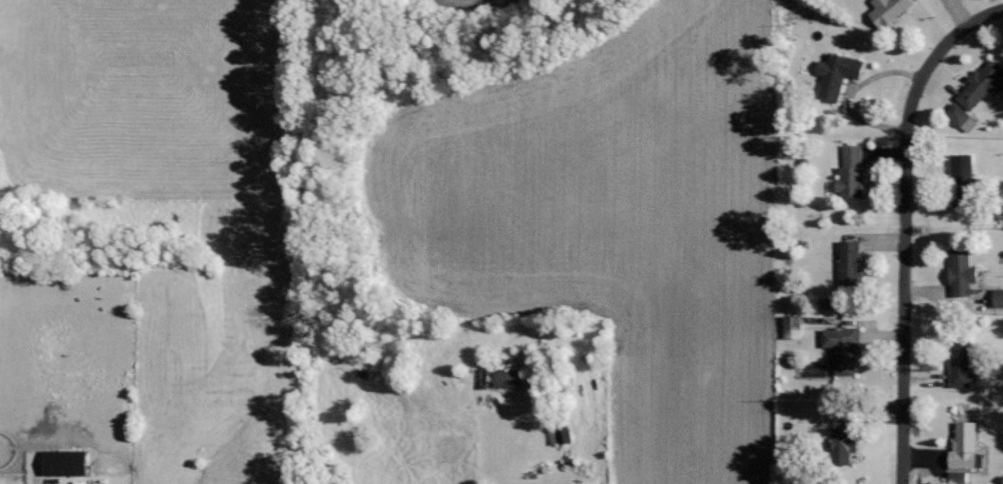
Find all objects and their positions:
building: (889, 11)
building: (837, 76)
building: (982, 87)
building: (962, 119)
building: (963, 168)
building: (853, 173)
road: (905, 225)
building: (851, 266)
building: (963, 274)
building: (998, 298)
building: (793, 327)
building: (843, 349)
building: (961, 364)
building: (508, 379)
building: (564, 435)
building: (845, 444)
building: (966, 447)
building: (65, 463)
building: (959, 478)

